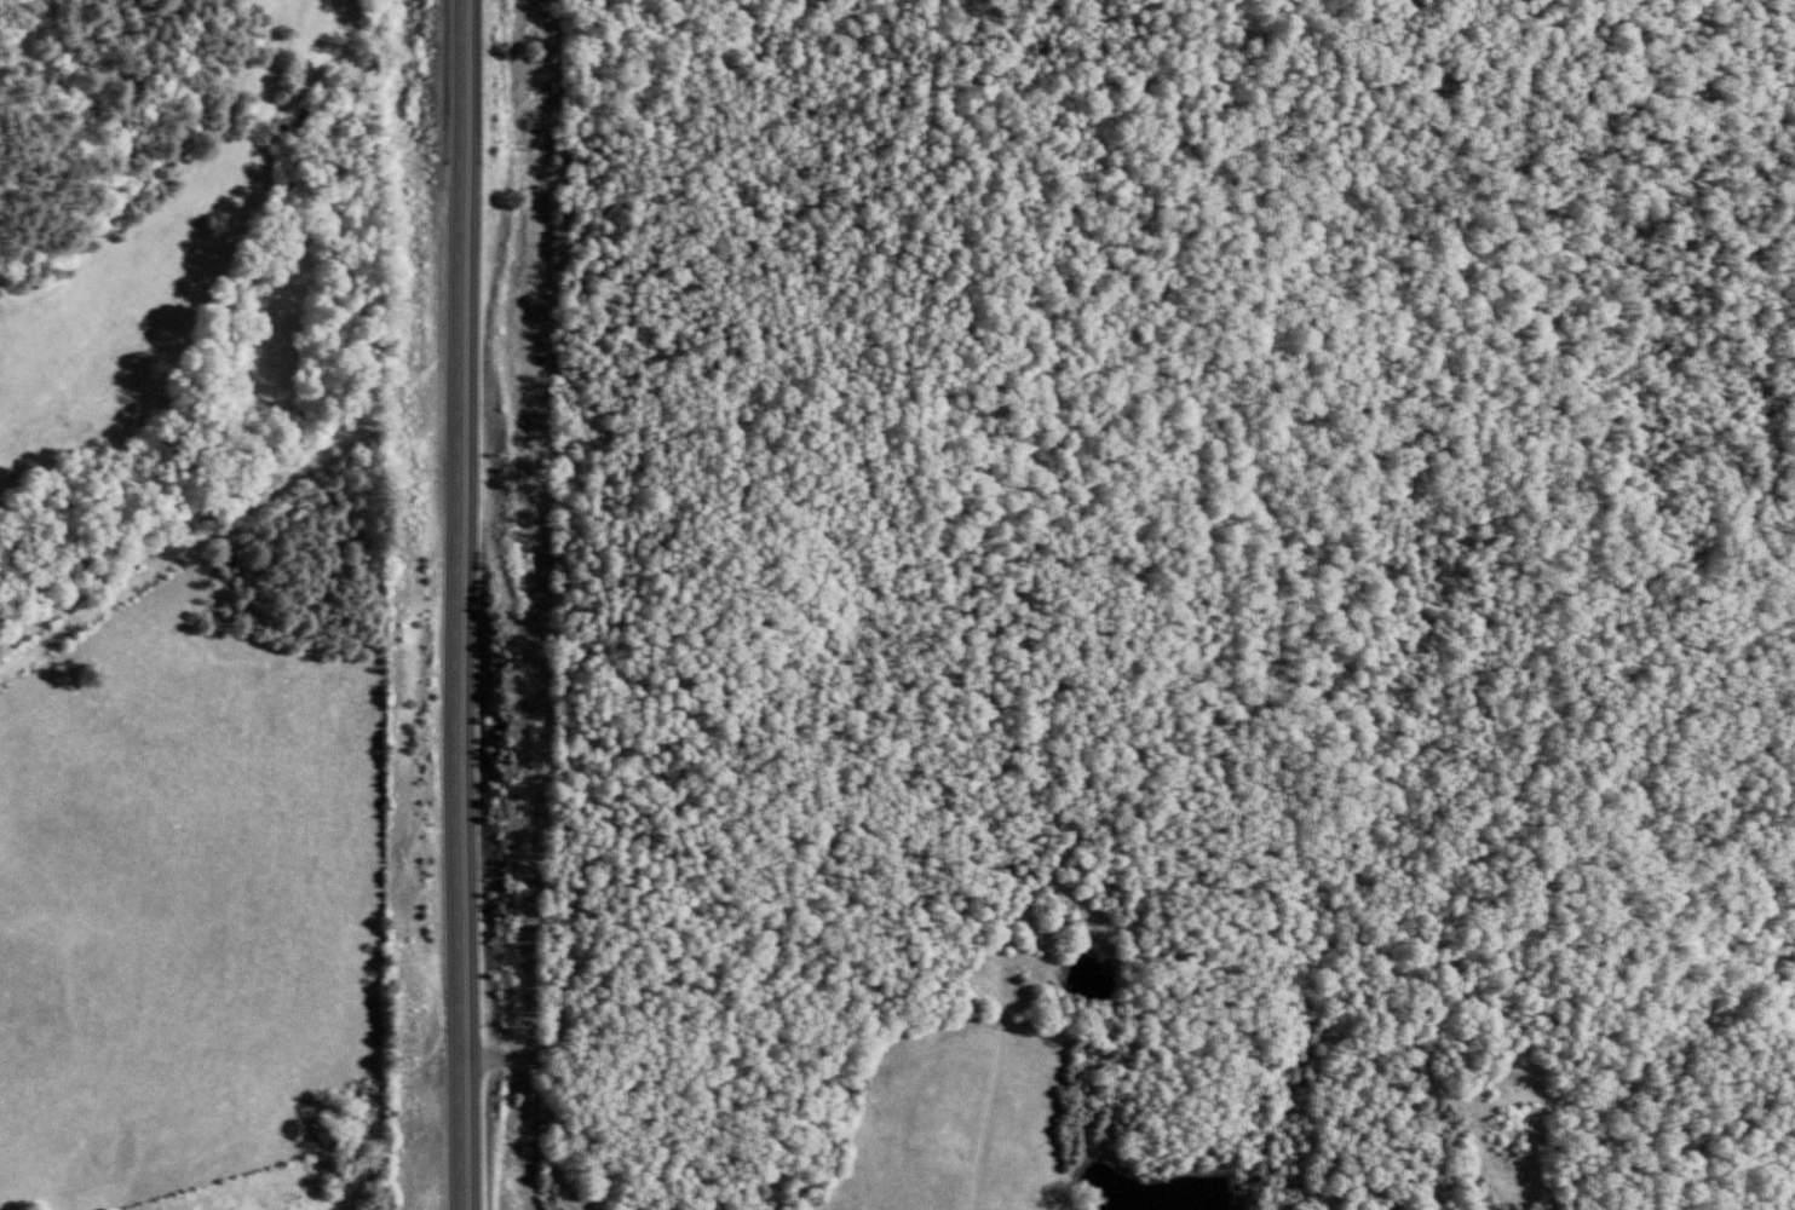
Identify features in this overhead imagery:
road: (460, 605)

